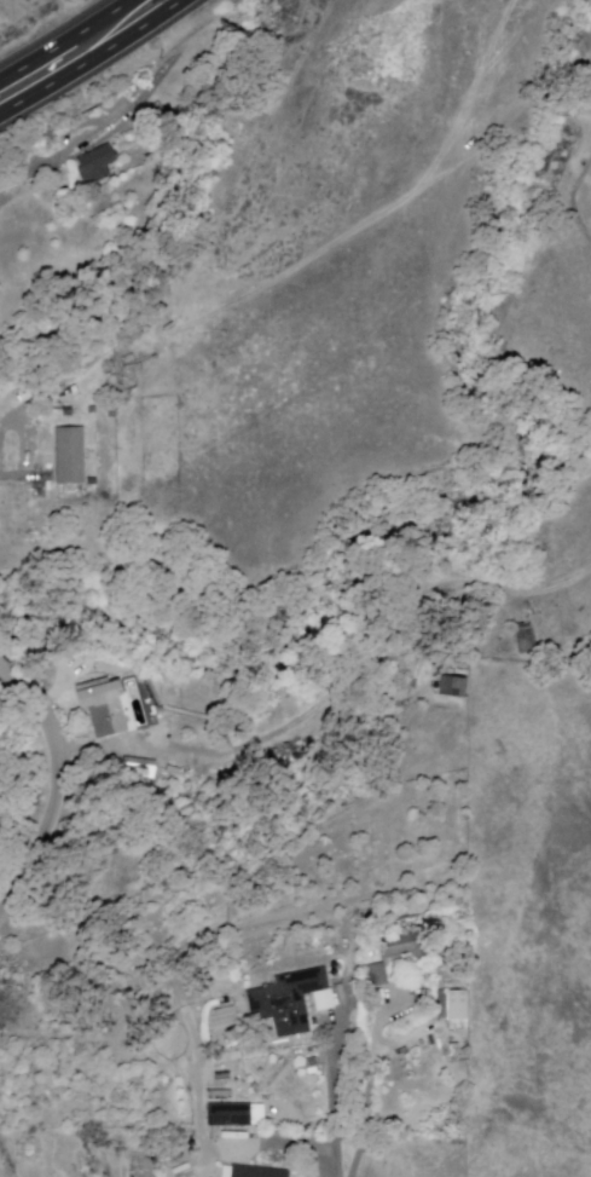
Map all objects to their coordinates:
road: (69, 44)
road: (93, 60)
building: (98, 167)
building: (73, 457)
road: (13, 478)
building: (525, 637)
building: (454, 690)
building: (105, 708)
road: (56, 790)
building: (410, 945)
storage tank: (336, 971)
building: (382, 976)
building: (338, 988)
building: (289, 1004)
building: (460, 1014)
building: (221, 1025)
road: (336, 1110)
building: (232, 1117)
storage tank: (195, 1152)
building: (185, 1172)
building: (259, 1173)

